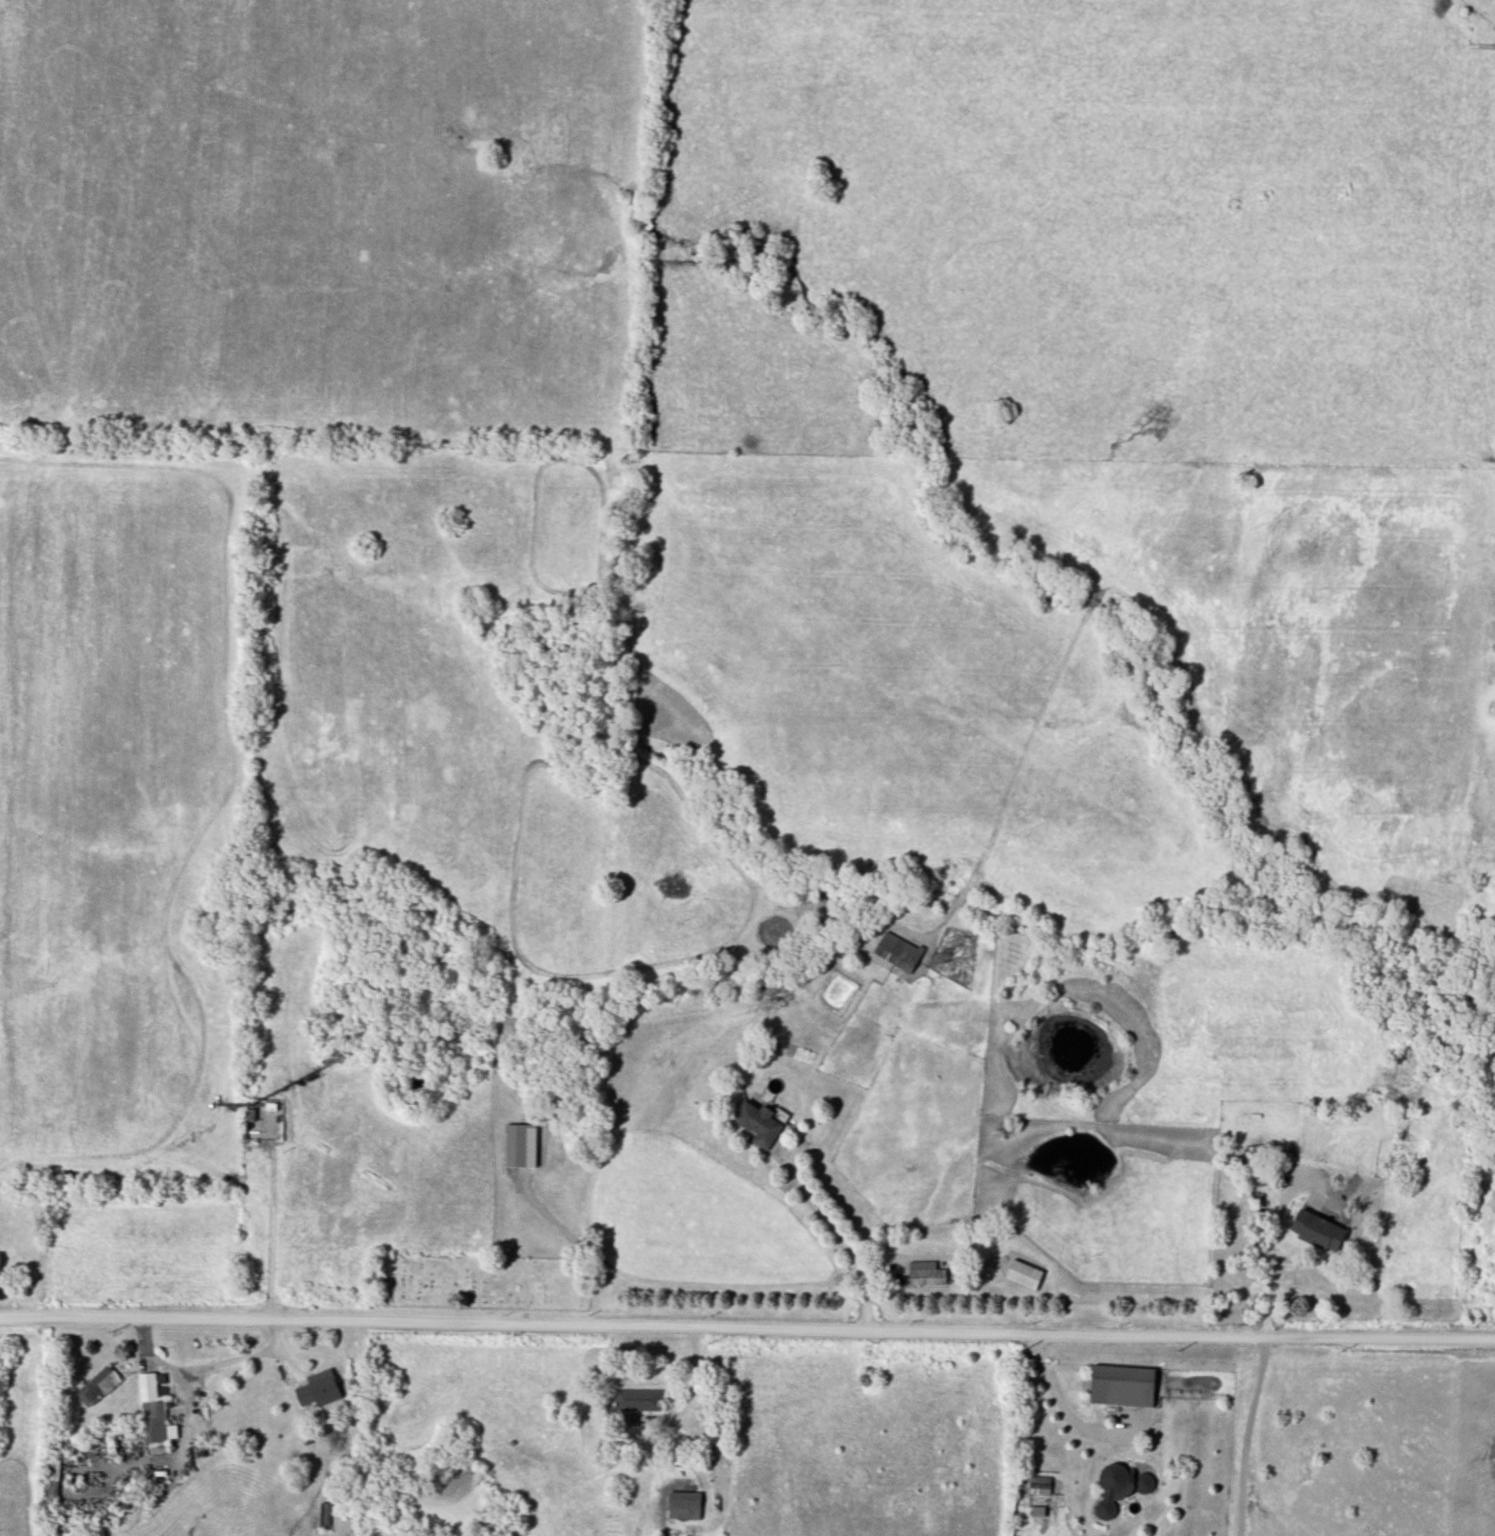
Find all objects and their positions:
road: (228, 576)
building: (897, 954)
building: (757, 1127)
building: (520, 1147)
building: (1254, 1169)
road: (269, 1231)
building: (1317, 1233)
road: (844, 1241)
road: (1267, 1271)
building: (926, 1275)
park: (480, 1284)
road: (527, 1302)
road: (747, 1332)
building: (98, 1387)
building: (1122, 1387)
building: (317, 1391)
building: (638, 1401)
road: (1055, 1404)
building: (152, 1412)
road: (1247, 1437)
building: (50, 1479)
building: (1119, 1489)
building: (684, 1506)
building: (325, 1518)

